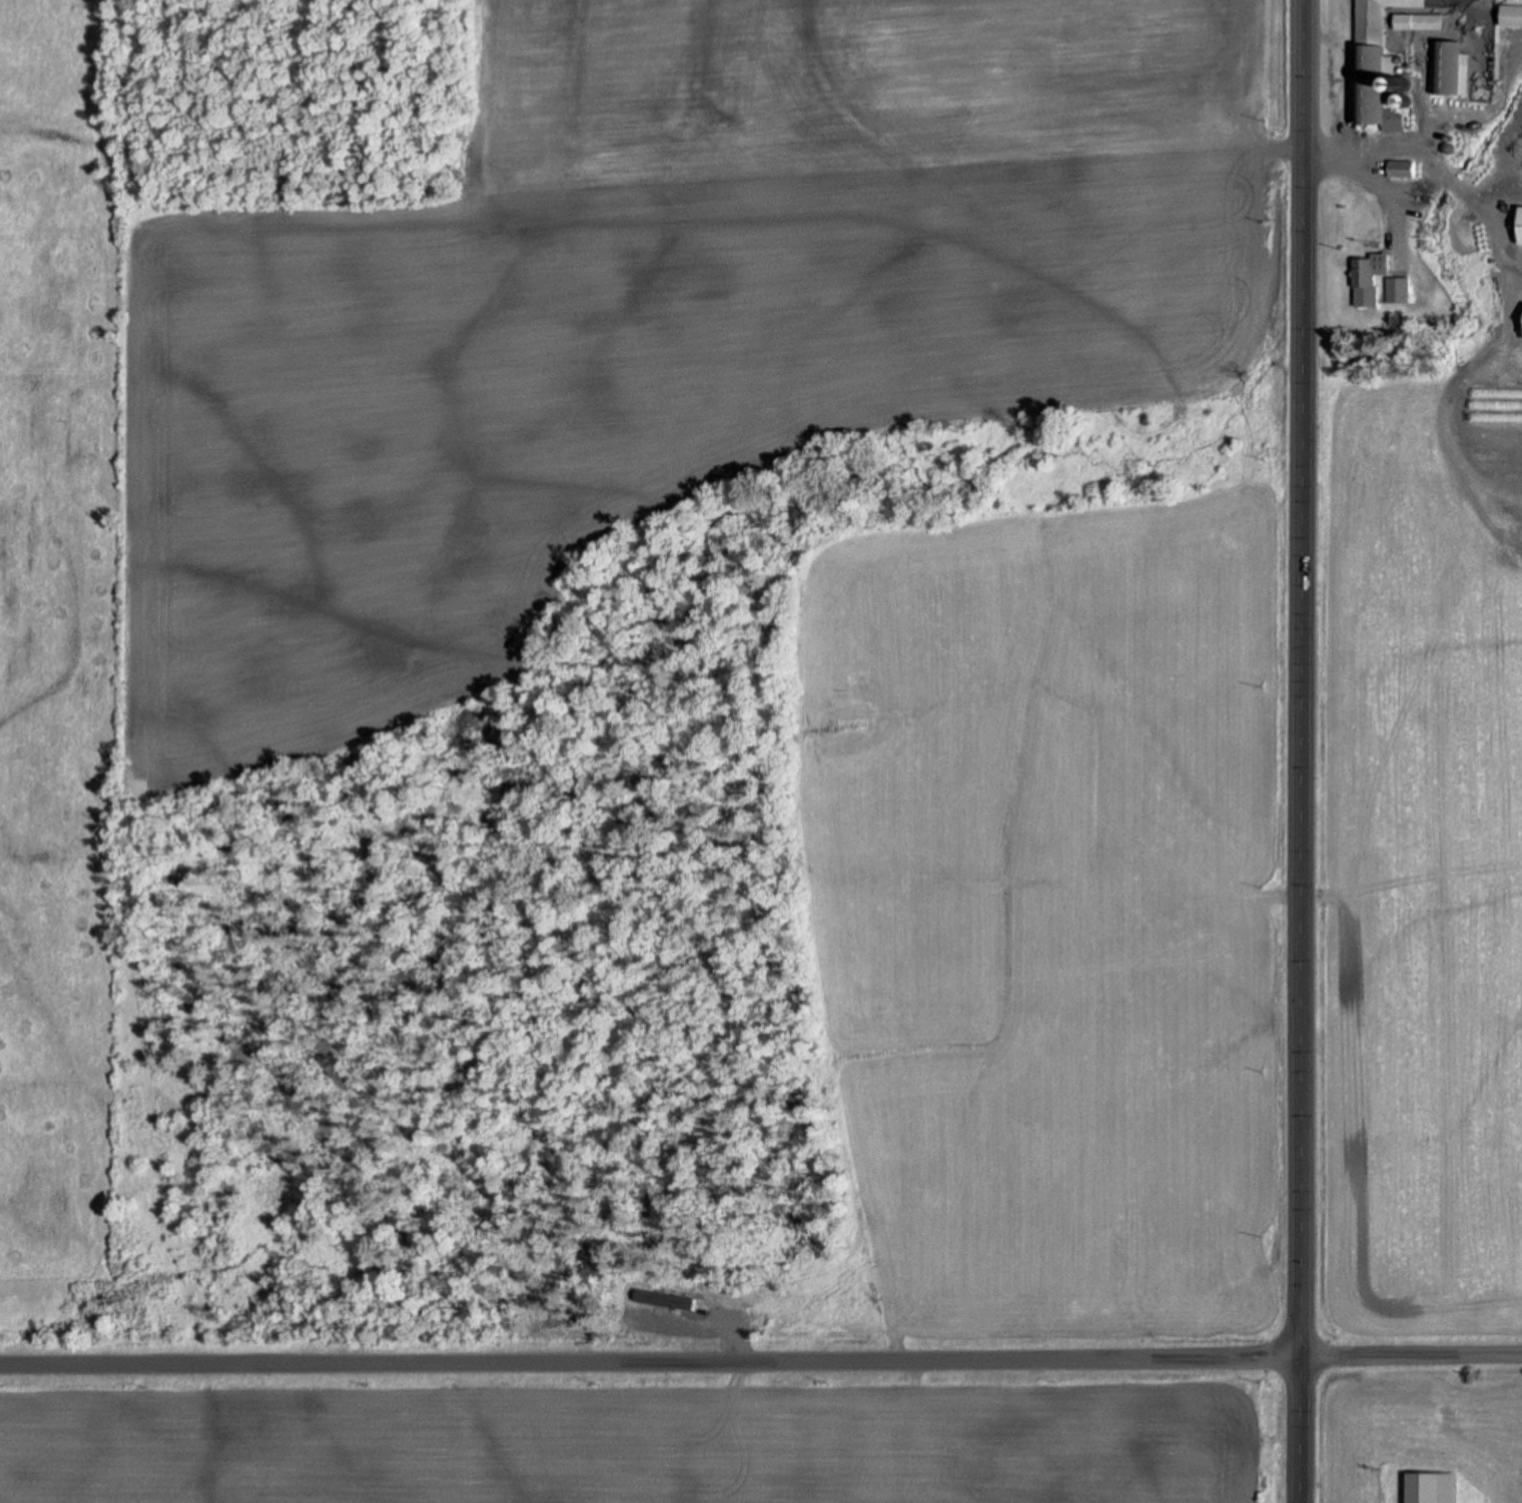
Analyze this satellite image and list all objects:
building: (1512, 15)
building: (1420, 19)
building: (1376, 63)
building: (1449, 66)
building: (1402, 168)
building: (1521, 225)
building: (1368, 278)
building: (1399, 289)
road: (1304, 751)
road: (1412, 1357)
road: (651, 1362)
building: (1434, 1488)

